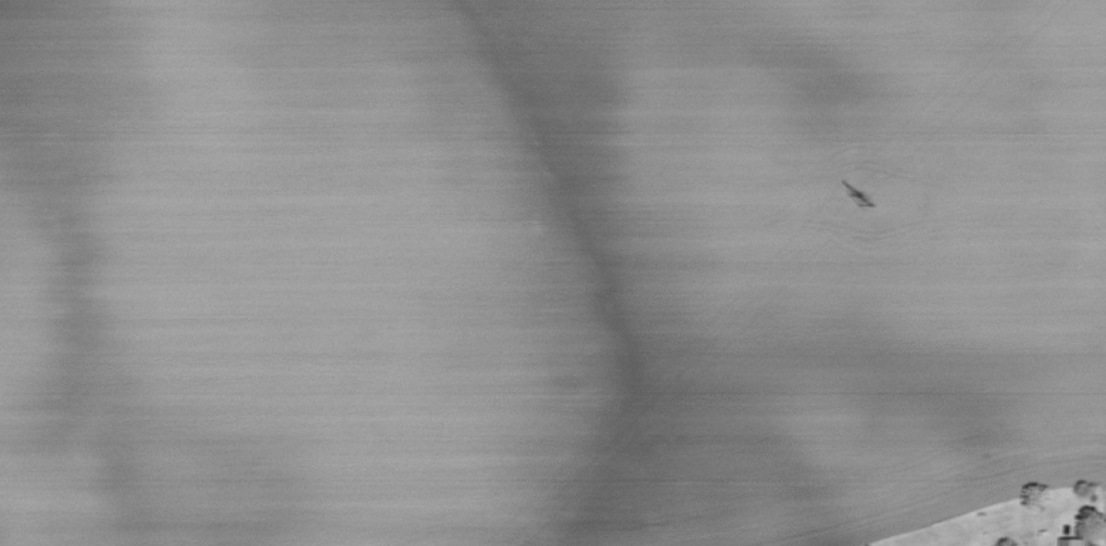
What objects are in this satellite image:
power tower: (867, 196)

